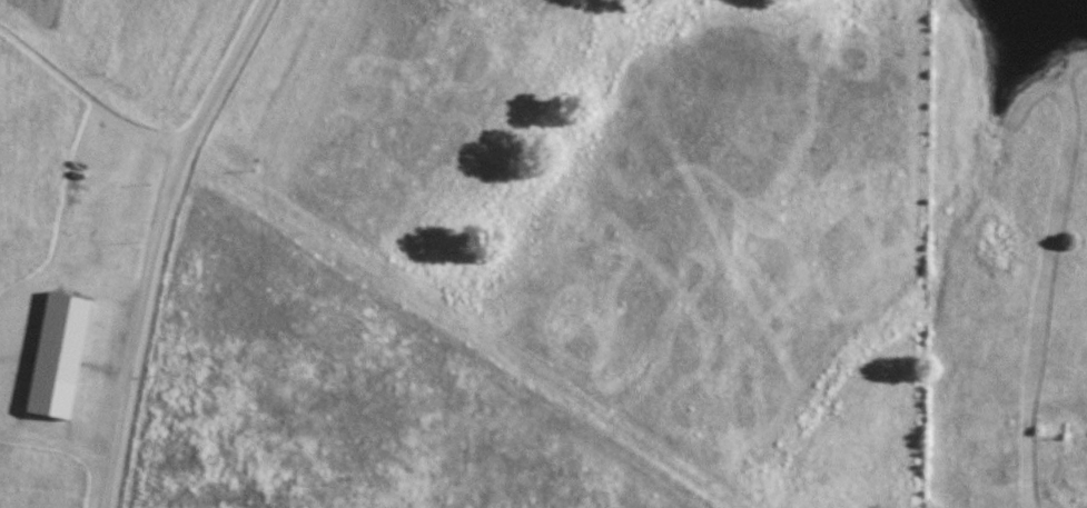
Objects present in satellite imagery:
road: (160, 243)
building: (61, 352)

